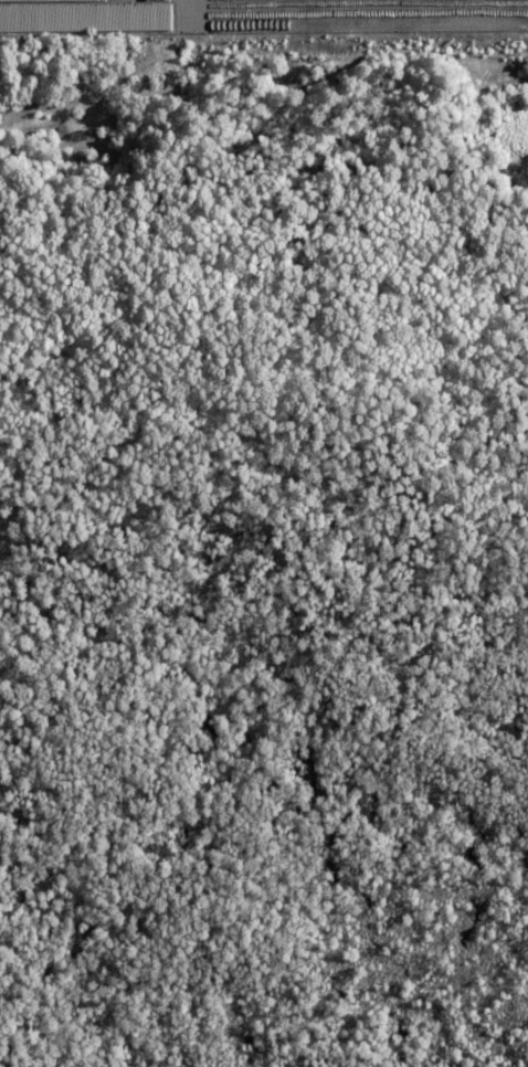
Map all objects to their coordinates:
road: (188, 10)
building: (82, 15)

